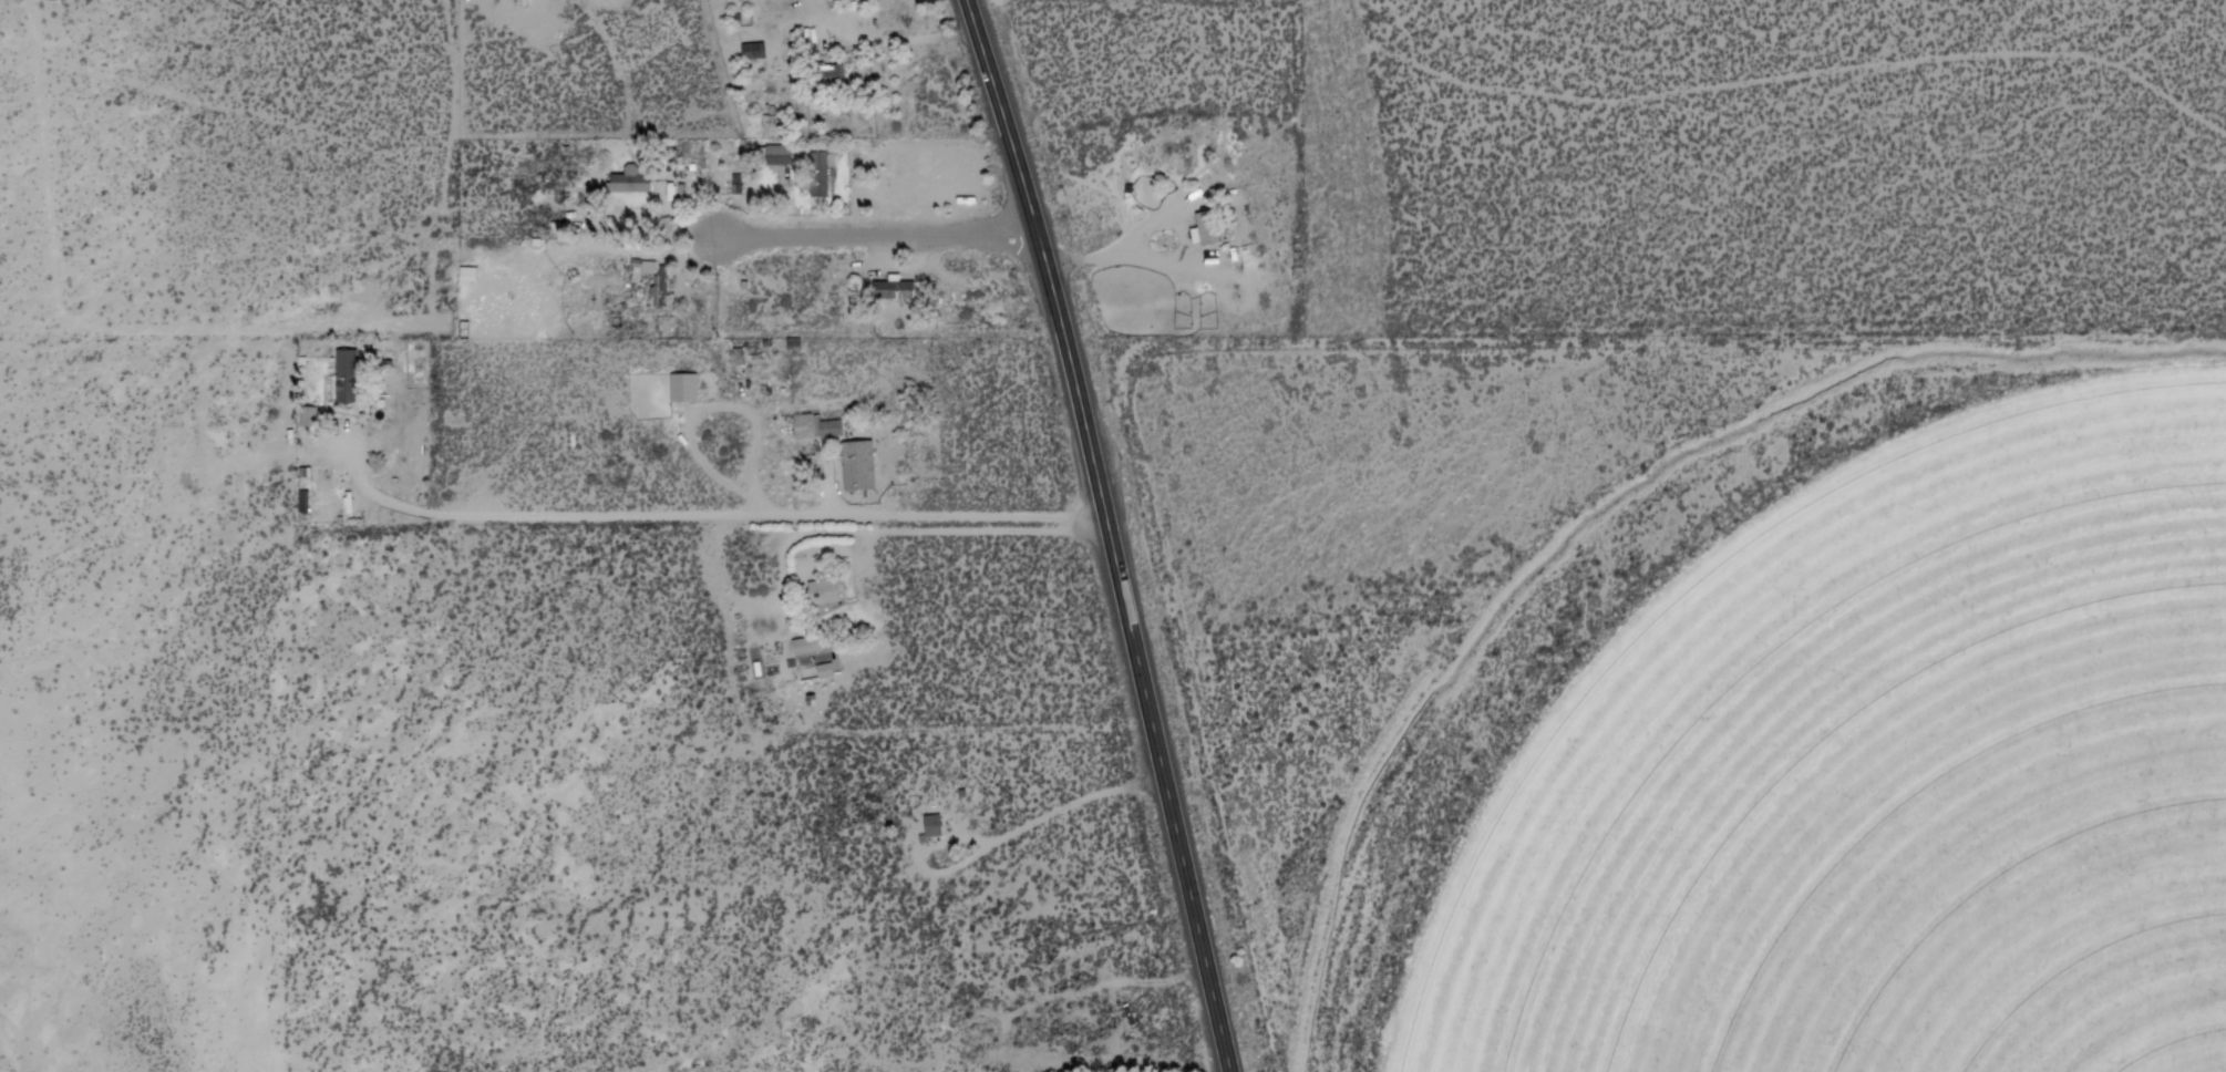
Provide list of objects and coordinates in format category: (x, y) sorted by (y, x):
building: (754, 53)
building: (828, 78)
building: (775, 156)
building: (823, 176)
building: (630, 186)
building: (1220, 212)
building: (1199, 229)
road: (875, 234)
building: (1209, 258)
building: (667, 281)
building: (898, 292)
building: (355, 380)
building: (686, 391)
building: (310, 418)
building: (818, 426)
building: (306, 466)
building: (862, 468)
road: (703, 522)
road: (1110, 533)
building: (831, 591)
building: (801, 646)
building: (821, 670)
crop: (1877, 775)
road: (1047, 817)
building: (936, 825)

